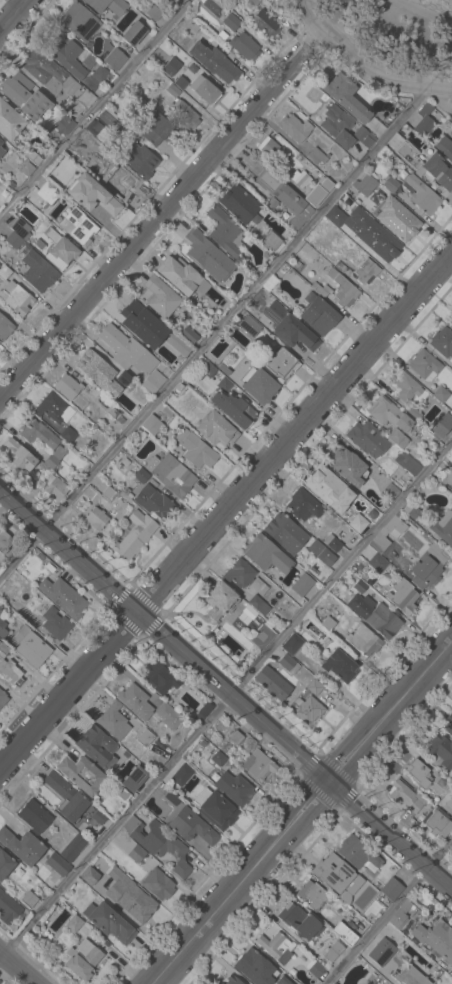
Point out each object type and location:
building: (270, 0)
building: (173, 1)
building: (107, 5)
building: (154, 13)
road: (12, 14)
building: (79, 21)
building: (231, 22)
building: (265, 23)
building: (134, 33)
building: (244, 46)
building: (68, 56)
building: (115, 59)
building: (213, 62)
building: (171, 67)
road: (361, 68)
building: (101, 73)
building: (50, 74)
building: (204, 90)
building: (24, 96)
road: (99, 110)
building: (357, 110)
building: (183, 114)
building: (451, 118)
building: (9, 122)
building: (64, 124)
building: (154, 125)
building: (424, 126)
building: (295, 128)
building: (96, 131)
building: (124, 131)
building: (364, 136)
building: (1, 142)
building: (445, 147)
building: (271, 148)
building: (1, 151)
building: (107, 156)
building: (316, 156)
building: (139, 160)
building: (425, 164)
building: (26, 169)
building: (300, 178)
building: (119, 184)
building: (390, 184)
building: (364, 185)
building: (318, 190)
building: (46, 192)
building: (92, 195)
building: (422, 195)
building: (285, 198)
building: (238, 203)
building: (335, 216)
road: (159, 218)
building: (396, 218)
building: (80, 227)
building: (225, 232)
building: (18, 233)
building: (373, 235)
building: (270, 240)
building: (59, 249)
building: (208, 255)
building: (38, 271)
building: (366, 271)
building: (4, 272)
building: (179, 274)
building: (321, 289)
building: (343, 289)
building: (158, 296)
building: (17, 300)
building: (318, 314)
building: (450, 321)
building: (143, 325)
building: (249, 325)
building: (5, 327)
building: (289, 327)
road: (218, 330)
building: (188, 335)
building: (442, 341)
building: (179, 344)
building: (127, 350)
building: (279, 362)
building: (425, 365)
building: (96, 368)
building: (231, 374)
building: (122, 380)
building: (153, 381)
building: (260, 381)
building: (224, 384)
building: (68, 386)
building: (407, 387)
building: (441, 394)
building: (54, 408)
building: (234, 408)
building: (389, 413)
building: (152, 424)
building: (442, 426)
building: (216, 429)
building: (68, 434)
building: (398, 438)
building: (367, 439)
building: (42, 440)
building: (195, 449)
building: (17, 456)
building: (407, 463)
building: (348, 465)
building: (171, 474)
building: (141, 475)
building: (32, 485)
building: (54, 487)
building: (328, 488)
building: (451, 489)
building: (390, 492)
building: (109, 493)
building: (154, 502)
building: (303, 505)
road: (225, 510)
building: (412, 511)
building: (96, 518)
building: (357, 523)
building: (444, 527)
building: (285, 533)
building: (135, 534)
building: (380, 535)
building: (4, 542)
building: (333, 542)
building: (321, 553)
building: (266, 554)
building: (378, 563)
building: (428, 566)
building: (244, 576)
building: (302, 585)
building: (360, 586)
building: (9, 588)
building: (63, 597)
building: (403, 597)
building: (219, 600)
building: (259, 605)
building: (375, 615)
building: (55, 623)
building: (328, 623)
building: (2, 629)
building: (364, 640)
building: (292, 644)
building: (30, 646)
building: (288, 663)
building: (339, 665)
building: (8, 667)
building: (159, 677)
building: (272, 683)
building: (314, 686)
road: (226, 689)
building: (2, 698)
building: (136, 701)
road: (226, 702)
building: (307, 709)
building: (202, 711)
building: (169, 716)
building: (113, 721)
building: (448, 724)
building: (145, 737)
building: (97, 746)
building: (440, 751)
building: (218, 758)
building: (258, 764)
building: (418, 773)
building: (81, 774)
building: (180, 774)
building: (135, 777)
building: (440, 784)
building: (234, 788)
building: (405, 796)
building: (67, 797)
road: (303, 812)
building: (226, 813)
building: (35, 816)
building: (99, 817)
building: (436, 821)
building: (192, 826)
building: (159, 844)
building: (22, 846)
building: (73, 847)
building: (137, 854)
building: (358, 854)
building: (5, 864)
building: (57, 864)
building: (89, 876)
building: (338, 876)
building: (158, 884)
building: (392, 889)
building: (313, 894)
building: (129, 895)
building: (29, 899)
building: (9, 909)
road: (389, 912)
building: (400, 914)
building: (109, 922)
building: (300, 922)
building: (74, 924)
building: (345, 933)
building: (436, 939)
building: (277, 946)
building: (333, 951)
building: (382, 951)
building: (83, 959)
building: (255, 967)
road: (17, 968)
building: (316, 969)
building: (410, 976)
building: (232, 980)
building: (284, 980)
building: (218, 983)
building: (335, 983)

